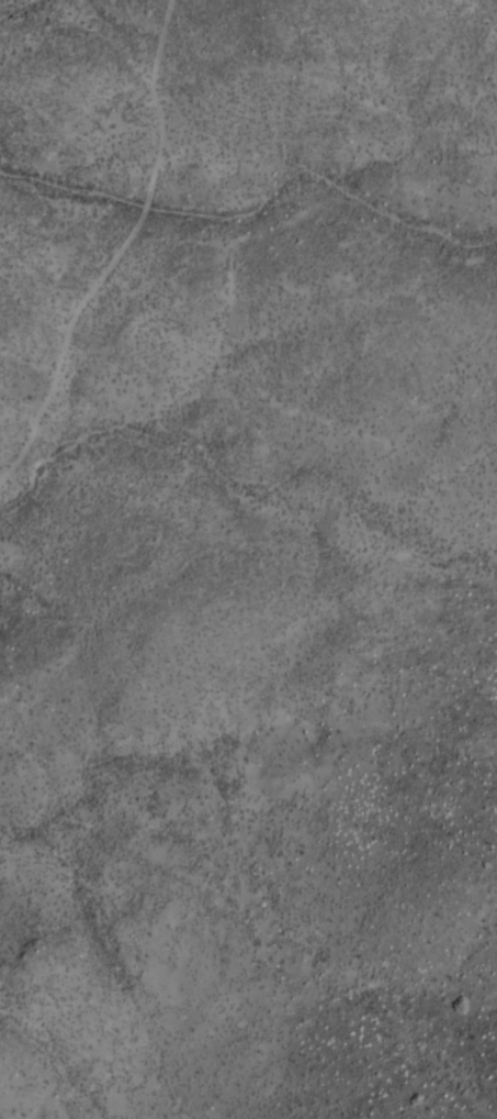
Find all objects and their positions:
road: (122, 250)

